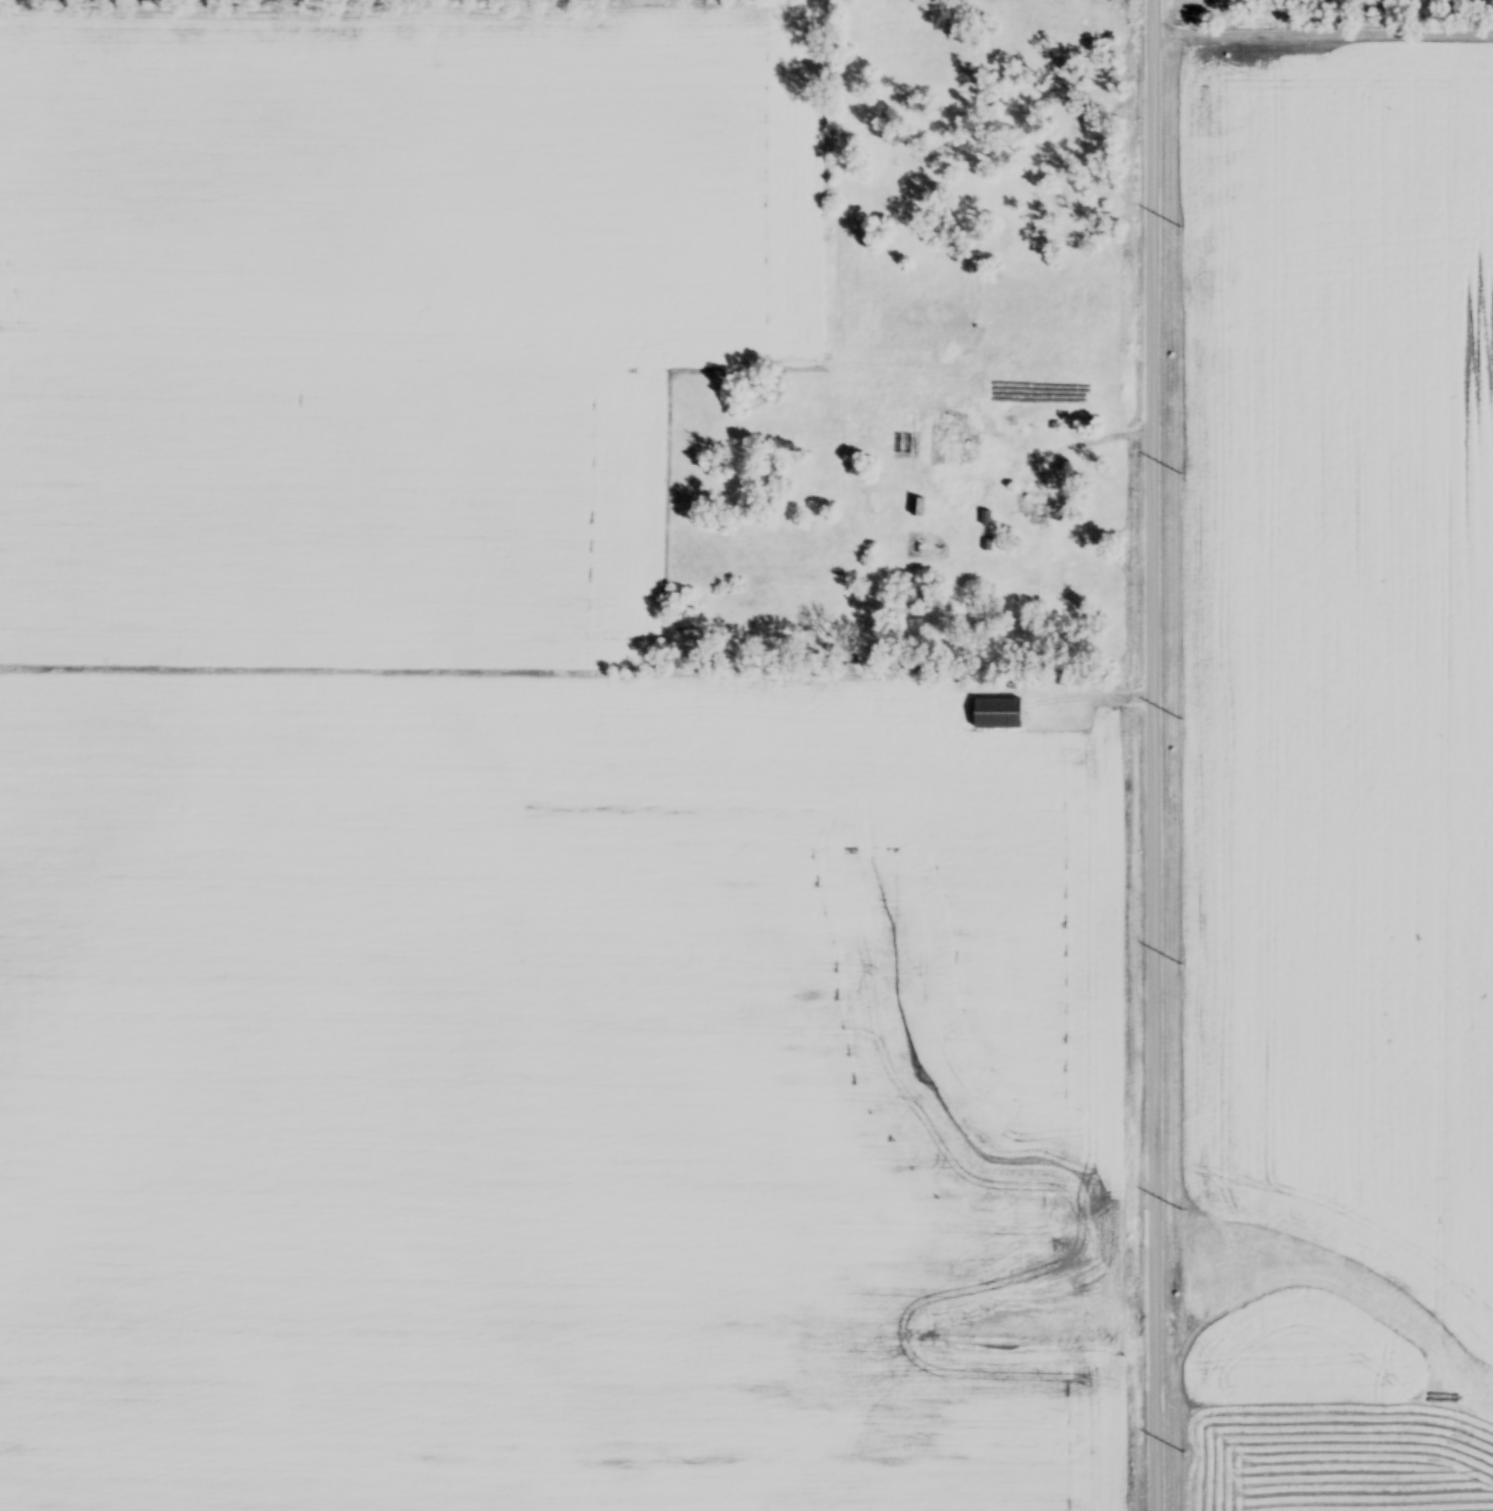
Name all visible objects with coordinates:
building: (951, 446)
building: (1039, 511)
building: (997, 716)
road: (1154, 755)

